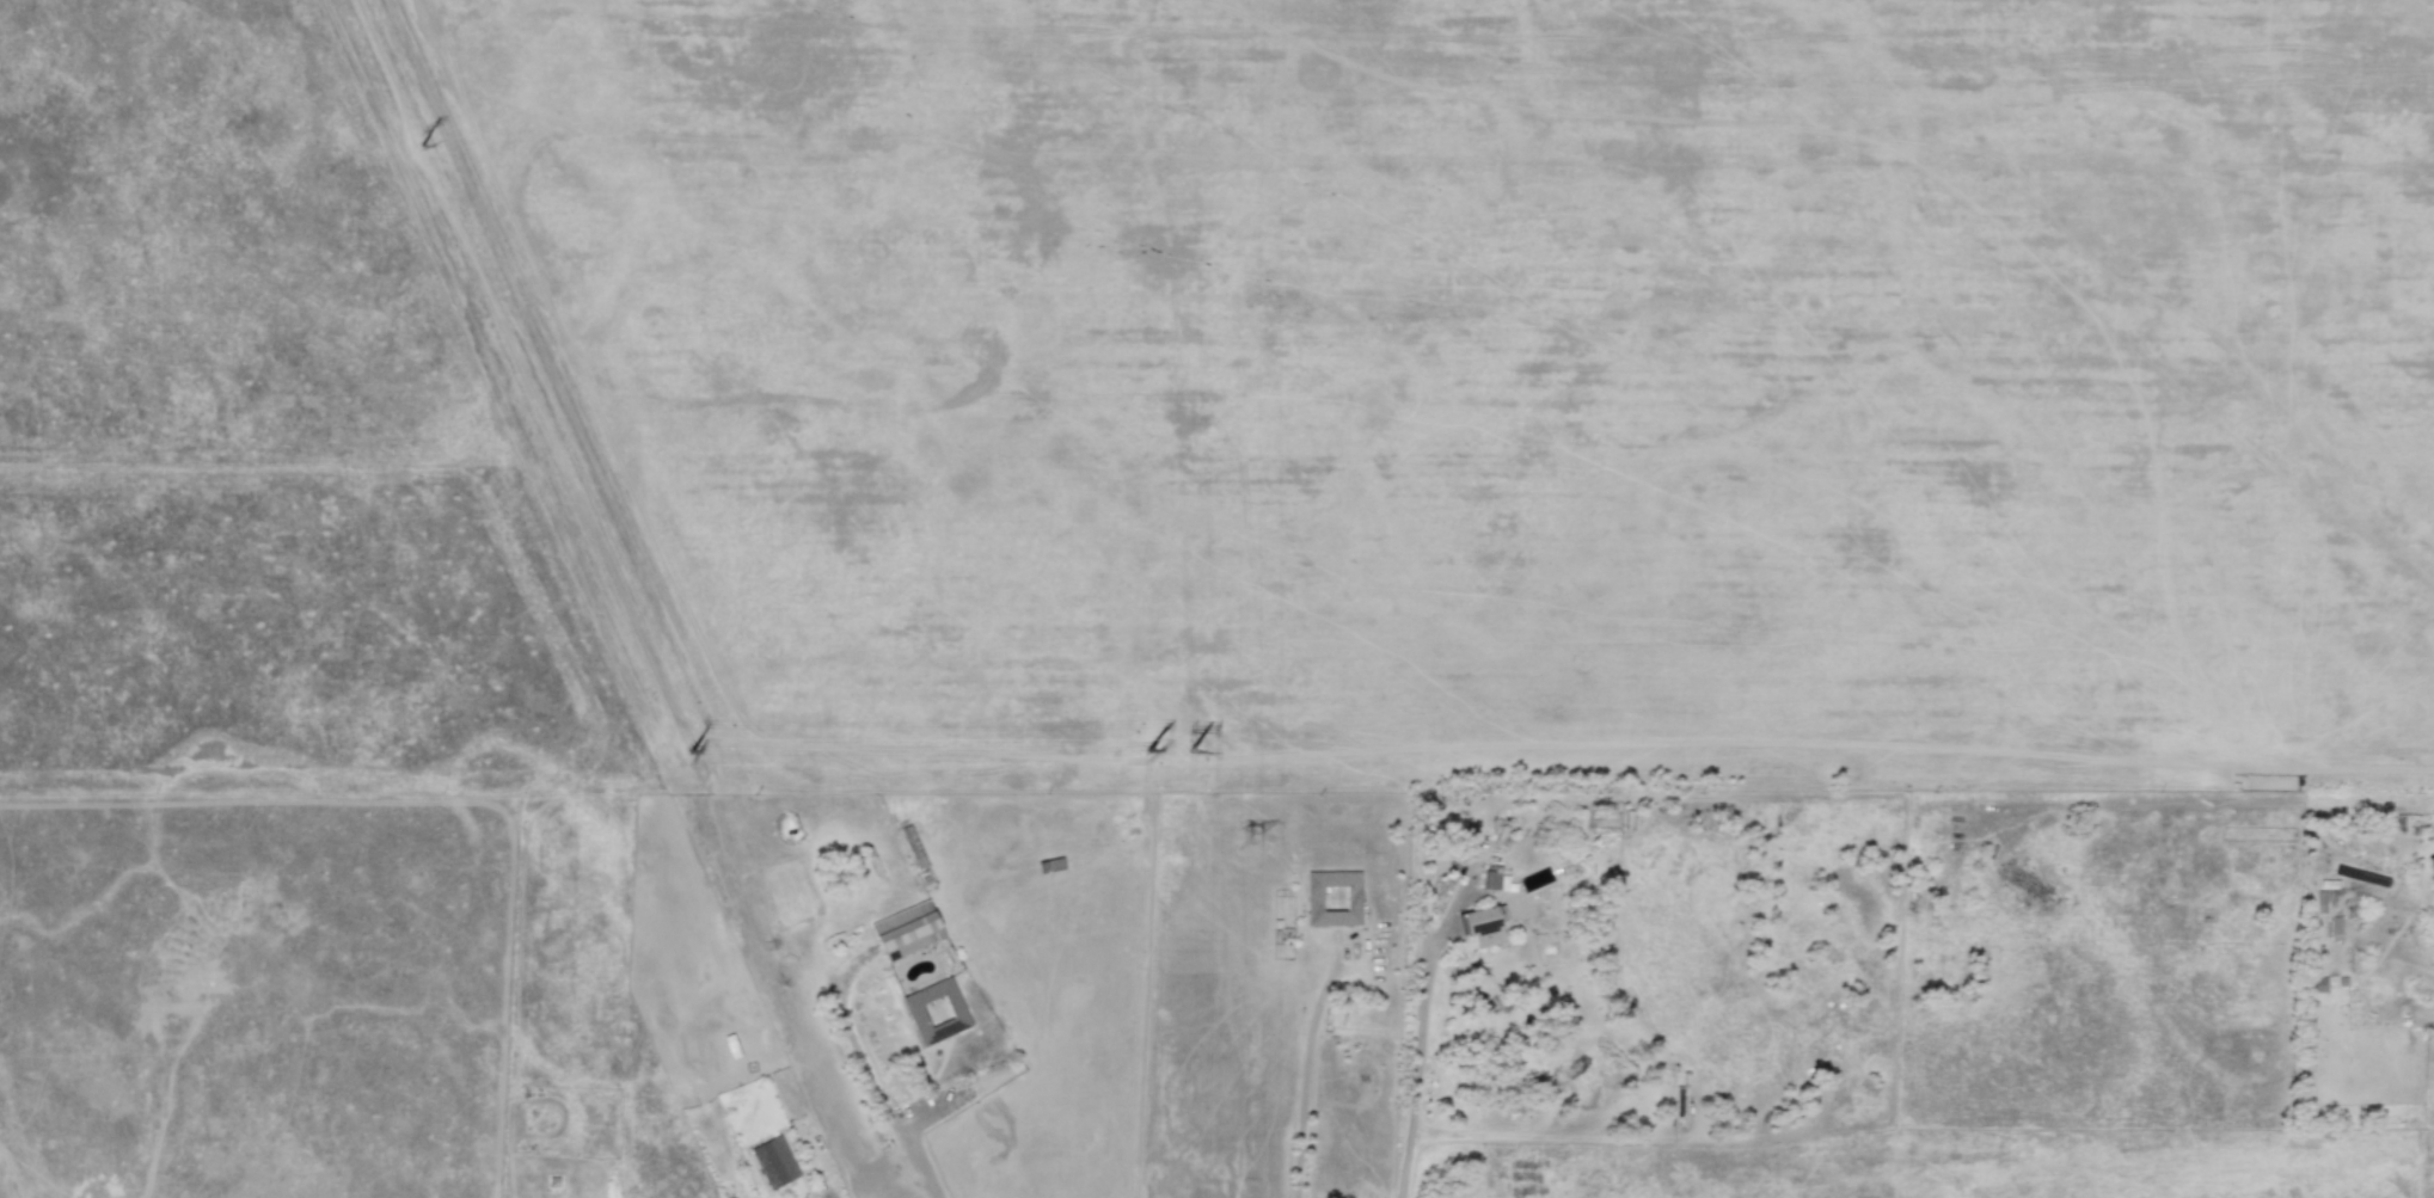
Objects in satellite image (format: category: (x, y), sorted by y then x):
road: (2332, 809)
power tower: (1250, 841)
road: (1458, 858)
building: (2430, 866)
building: (1491, 879)
building: (1332, 898)
building: (1479, 926)
building: (907, 930)
building: (936, 1010)
road: (1307, 1076)
road: (1417, 1087)
road: (1558, 1137)
road: (921, 1157)
building: (767, 1165)
road: (741, 1196)

